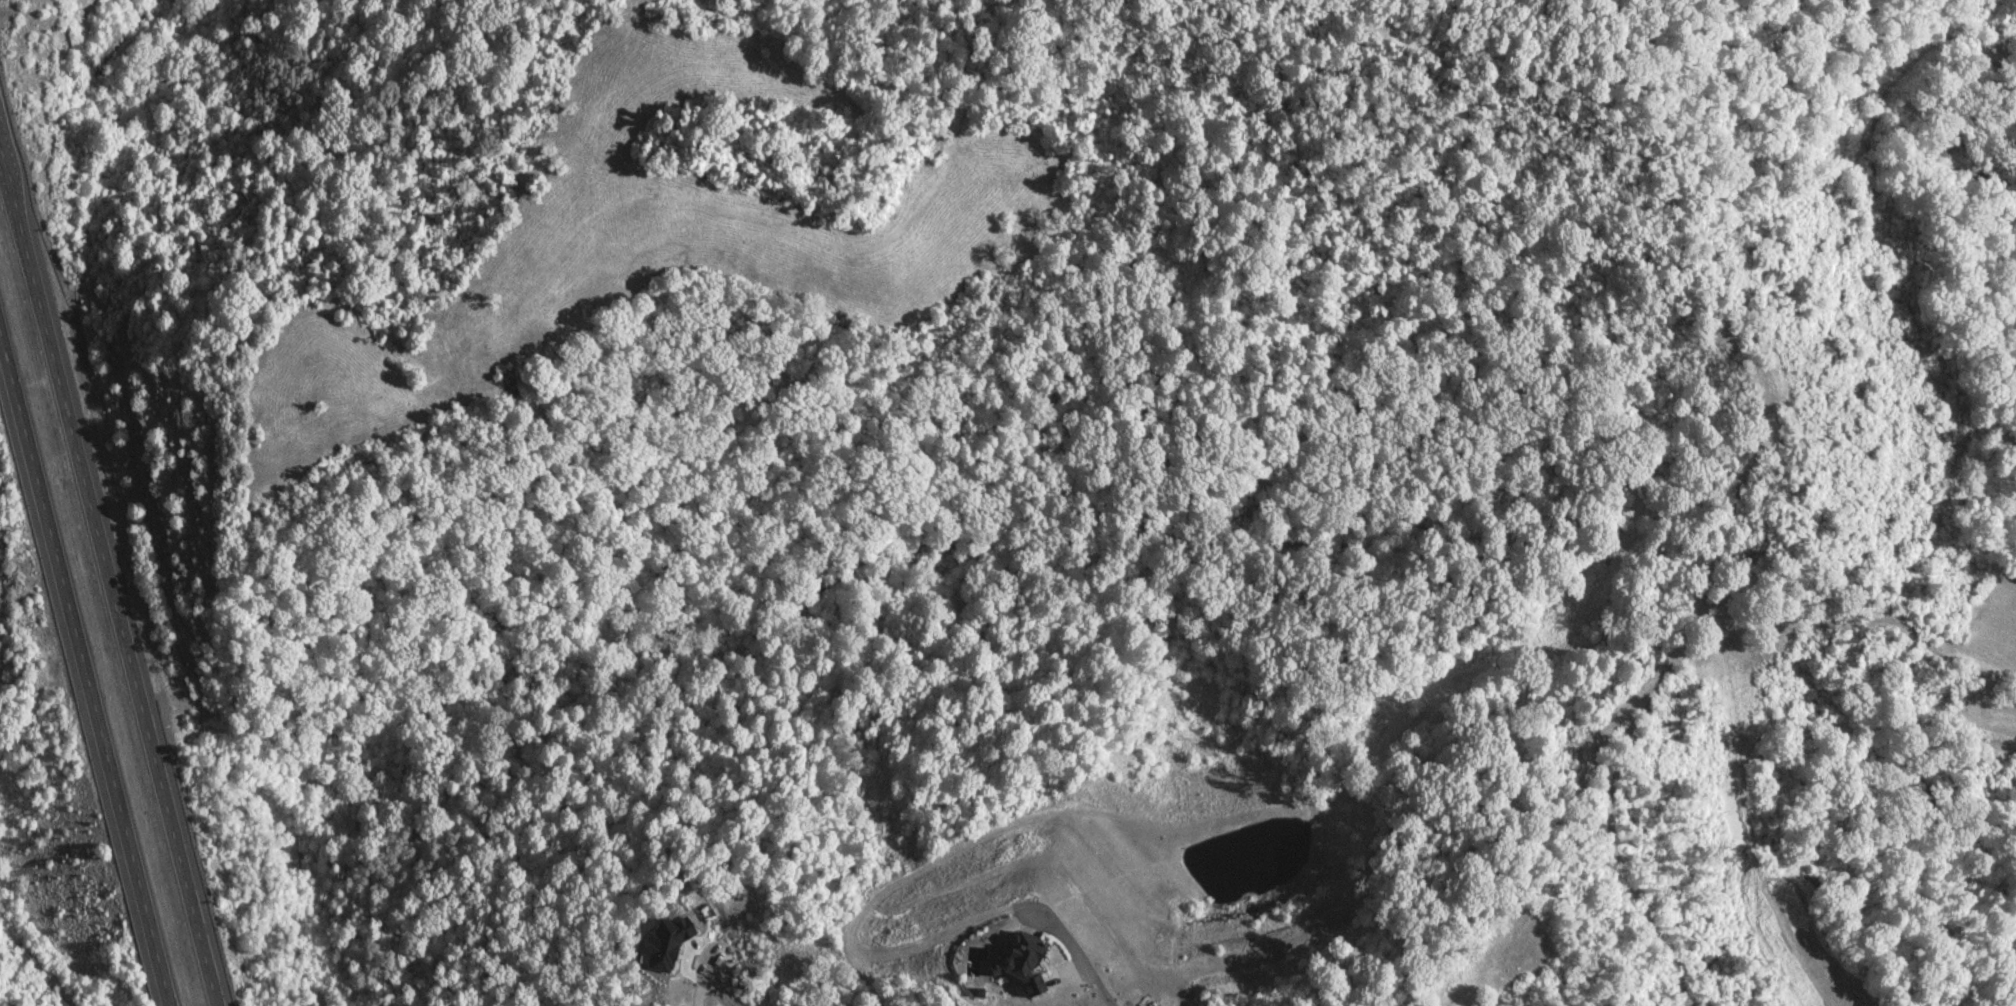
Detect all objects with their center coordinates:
road: (8, 178)
road: (126, 606)
road: (86, 671)

